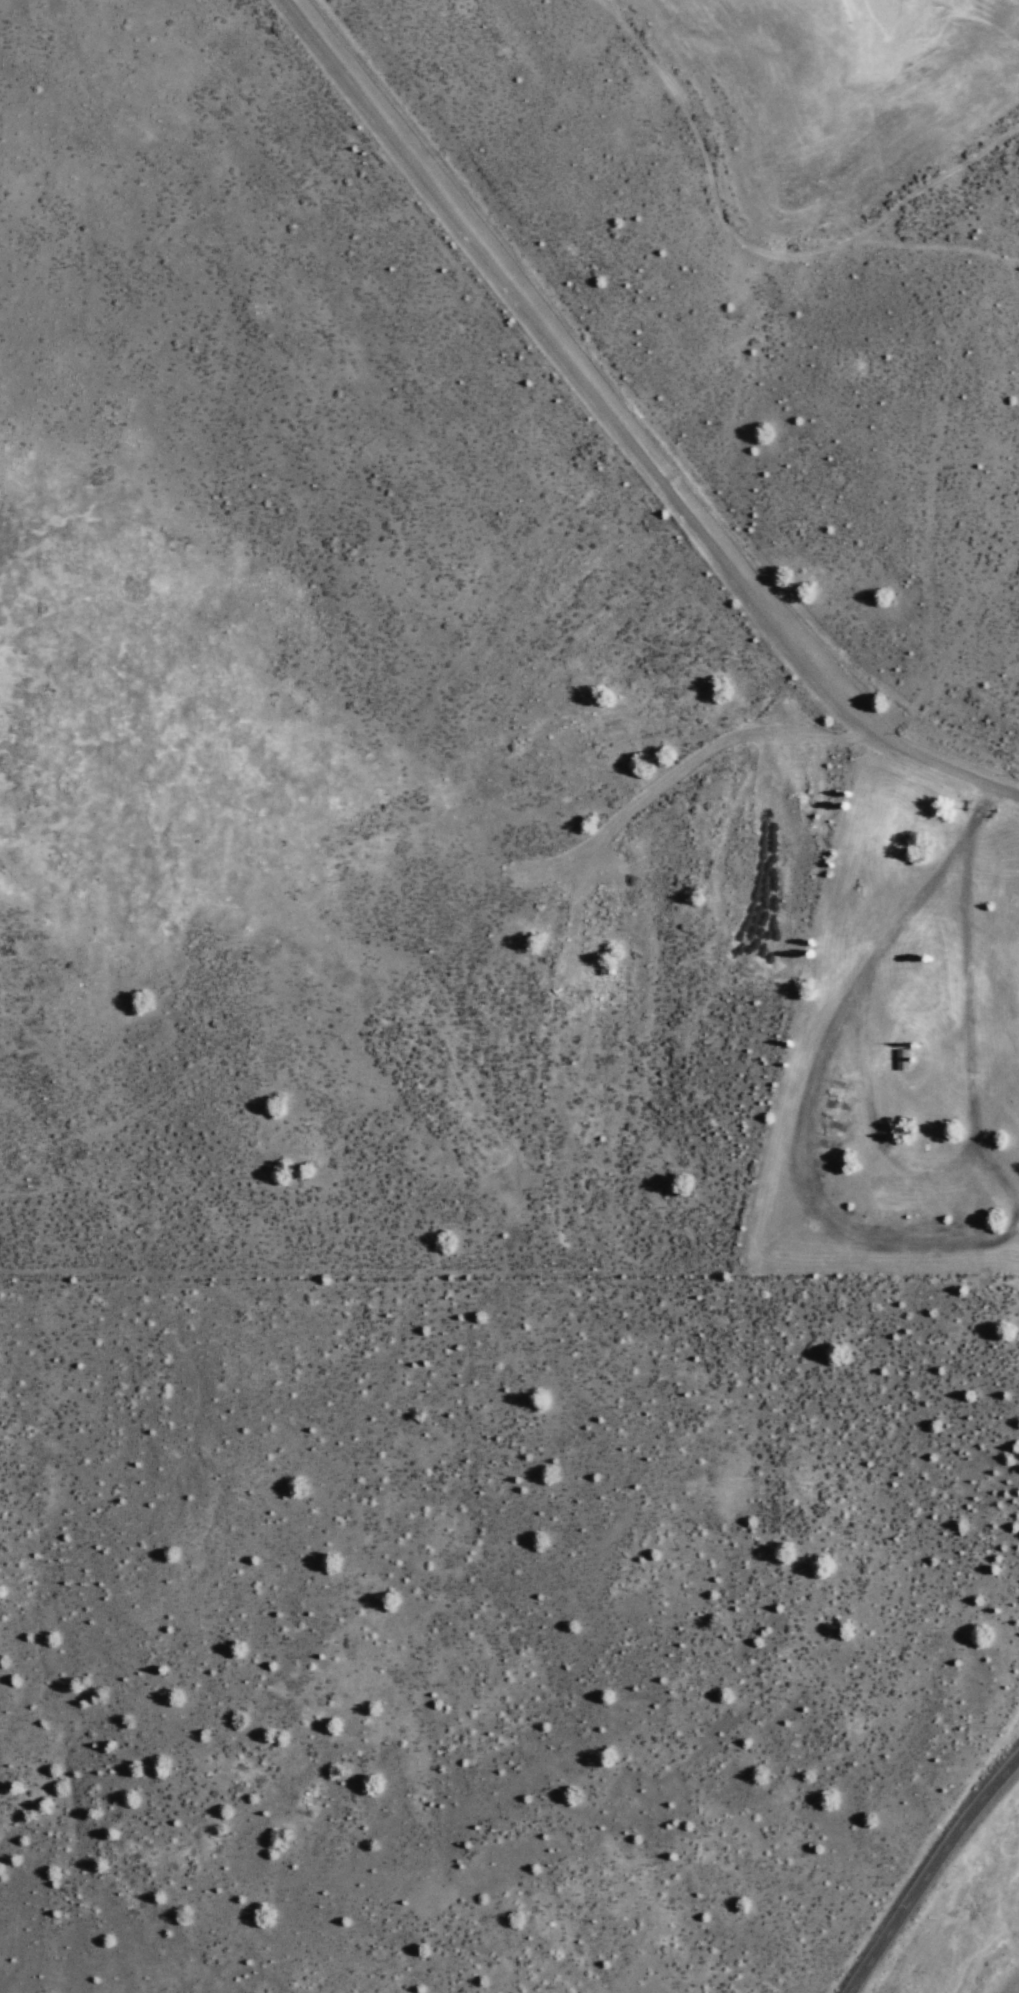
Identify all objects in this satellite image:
road: (623, 433)
road: (933, 1875)

